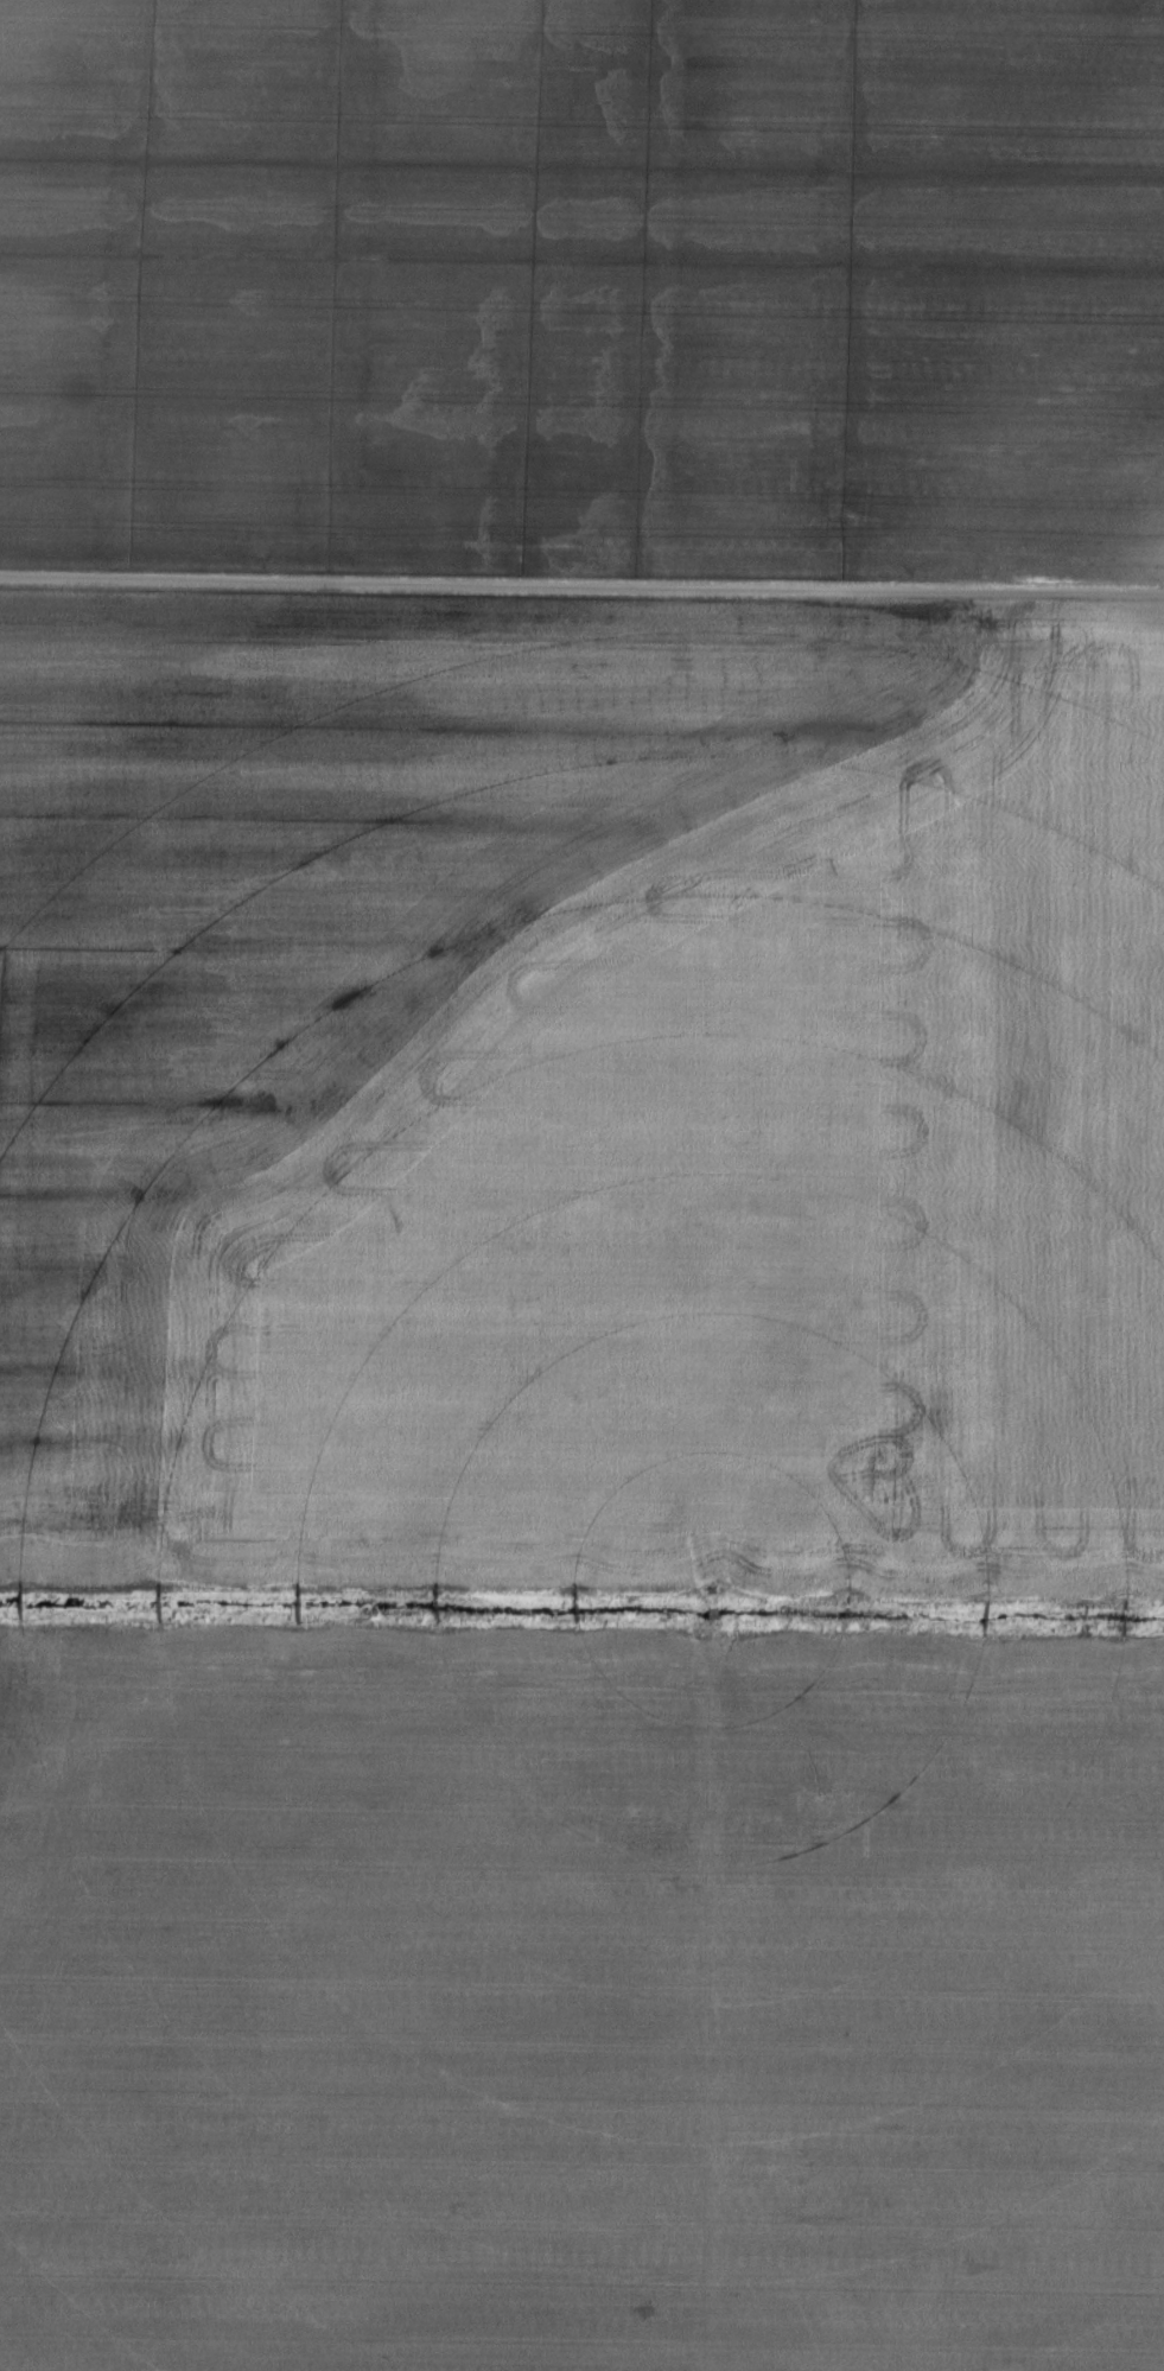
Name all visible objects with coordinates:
road: (581, 589)

